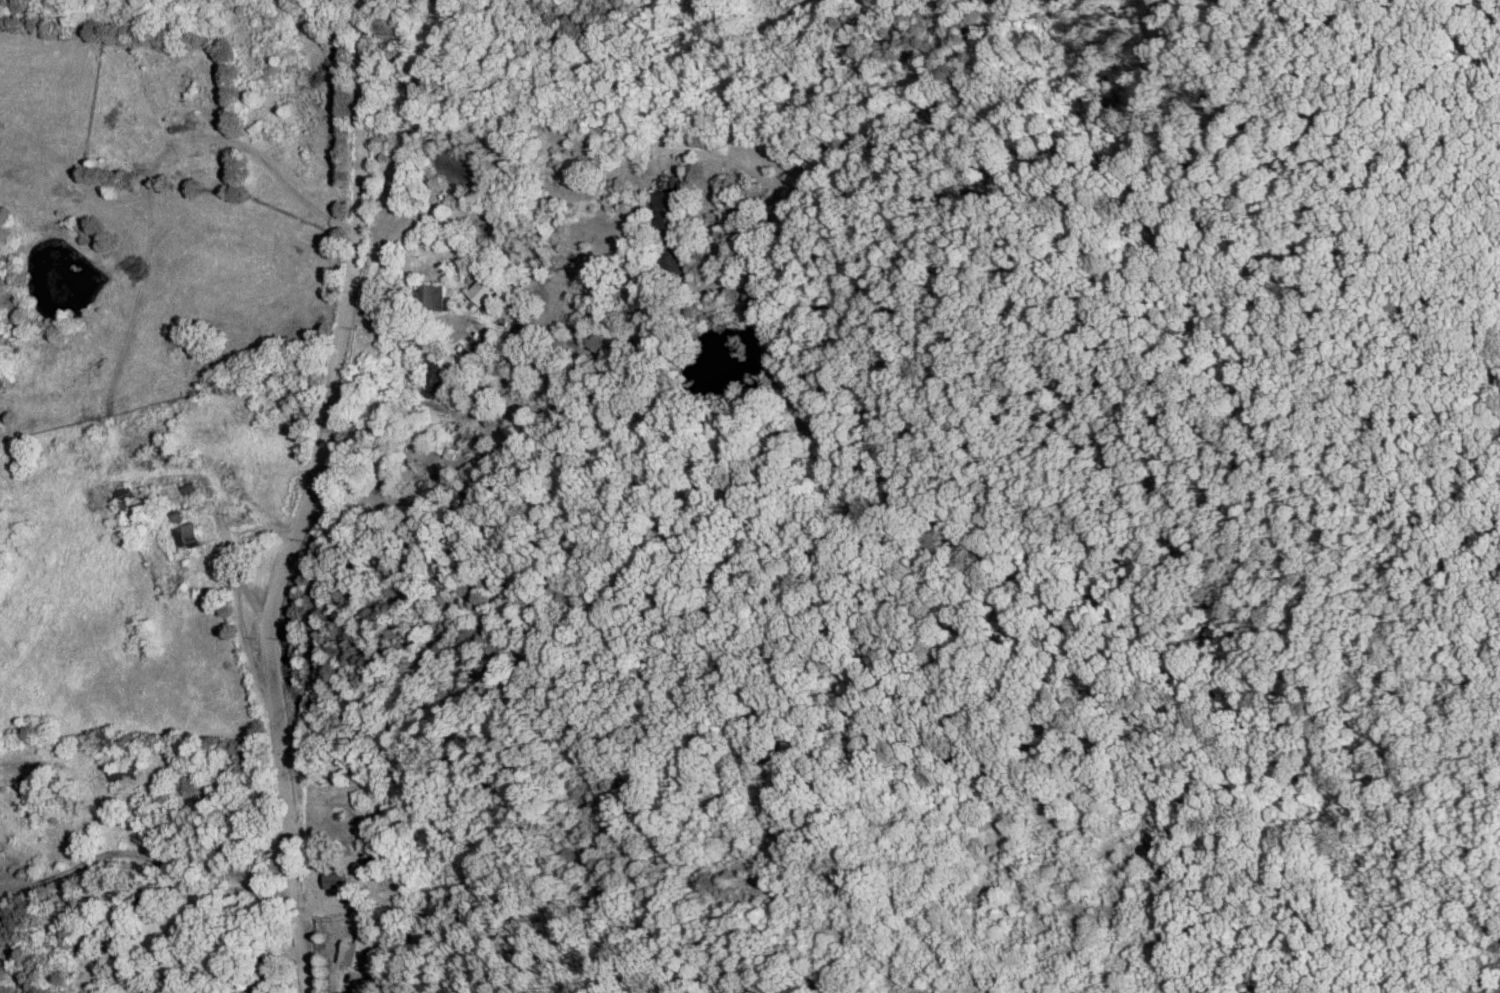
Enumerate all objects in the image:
building: (479, 291)
building: (429, 296)
road: (410, 333)
road: (307, 500)
building: (183, 536)
road: (144, 830)

